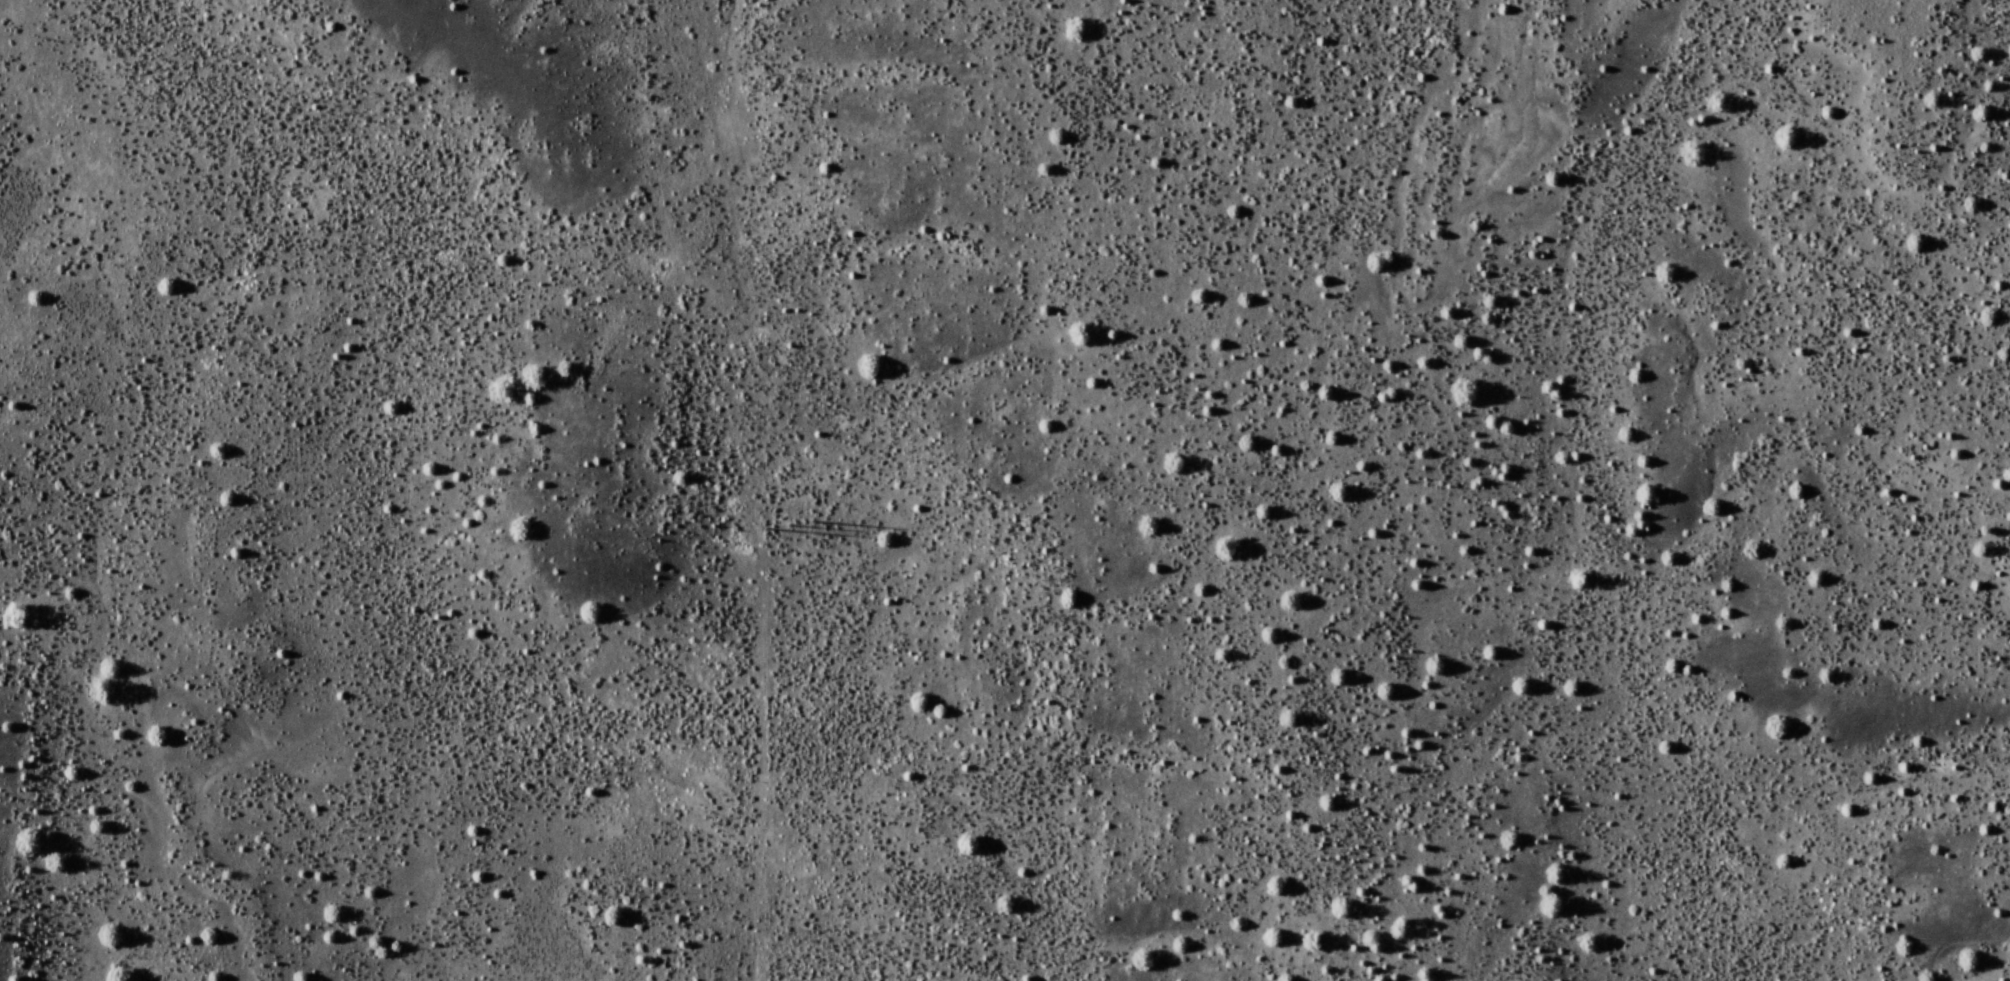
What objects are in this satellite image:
power tower: (790, 528)

